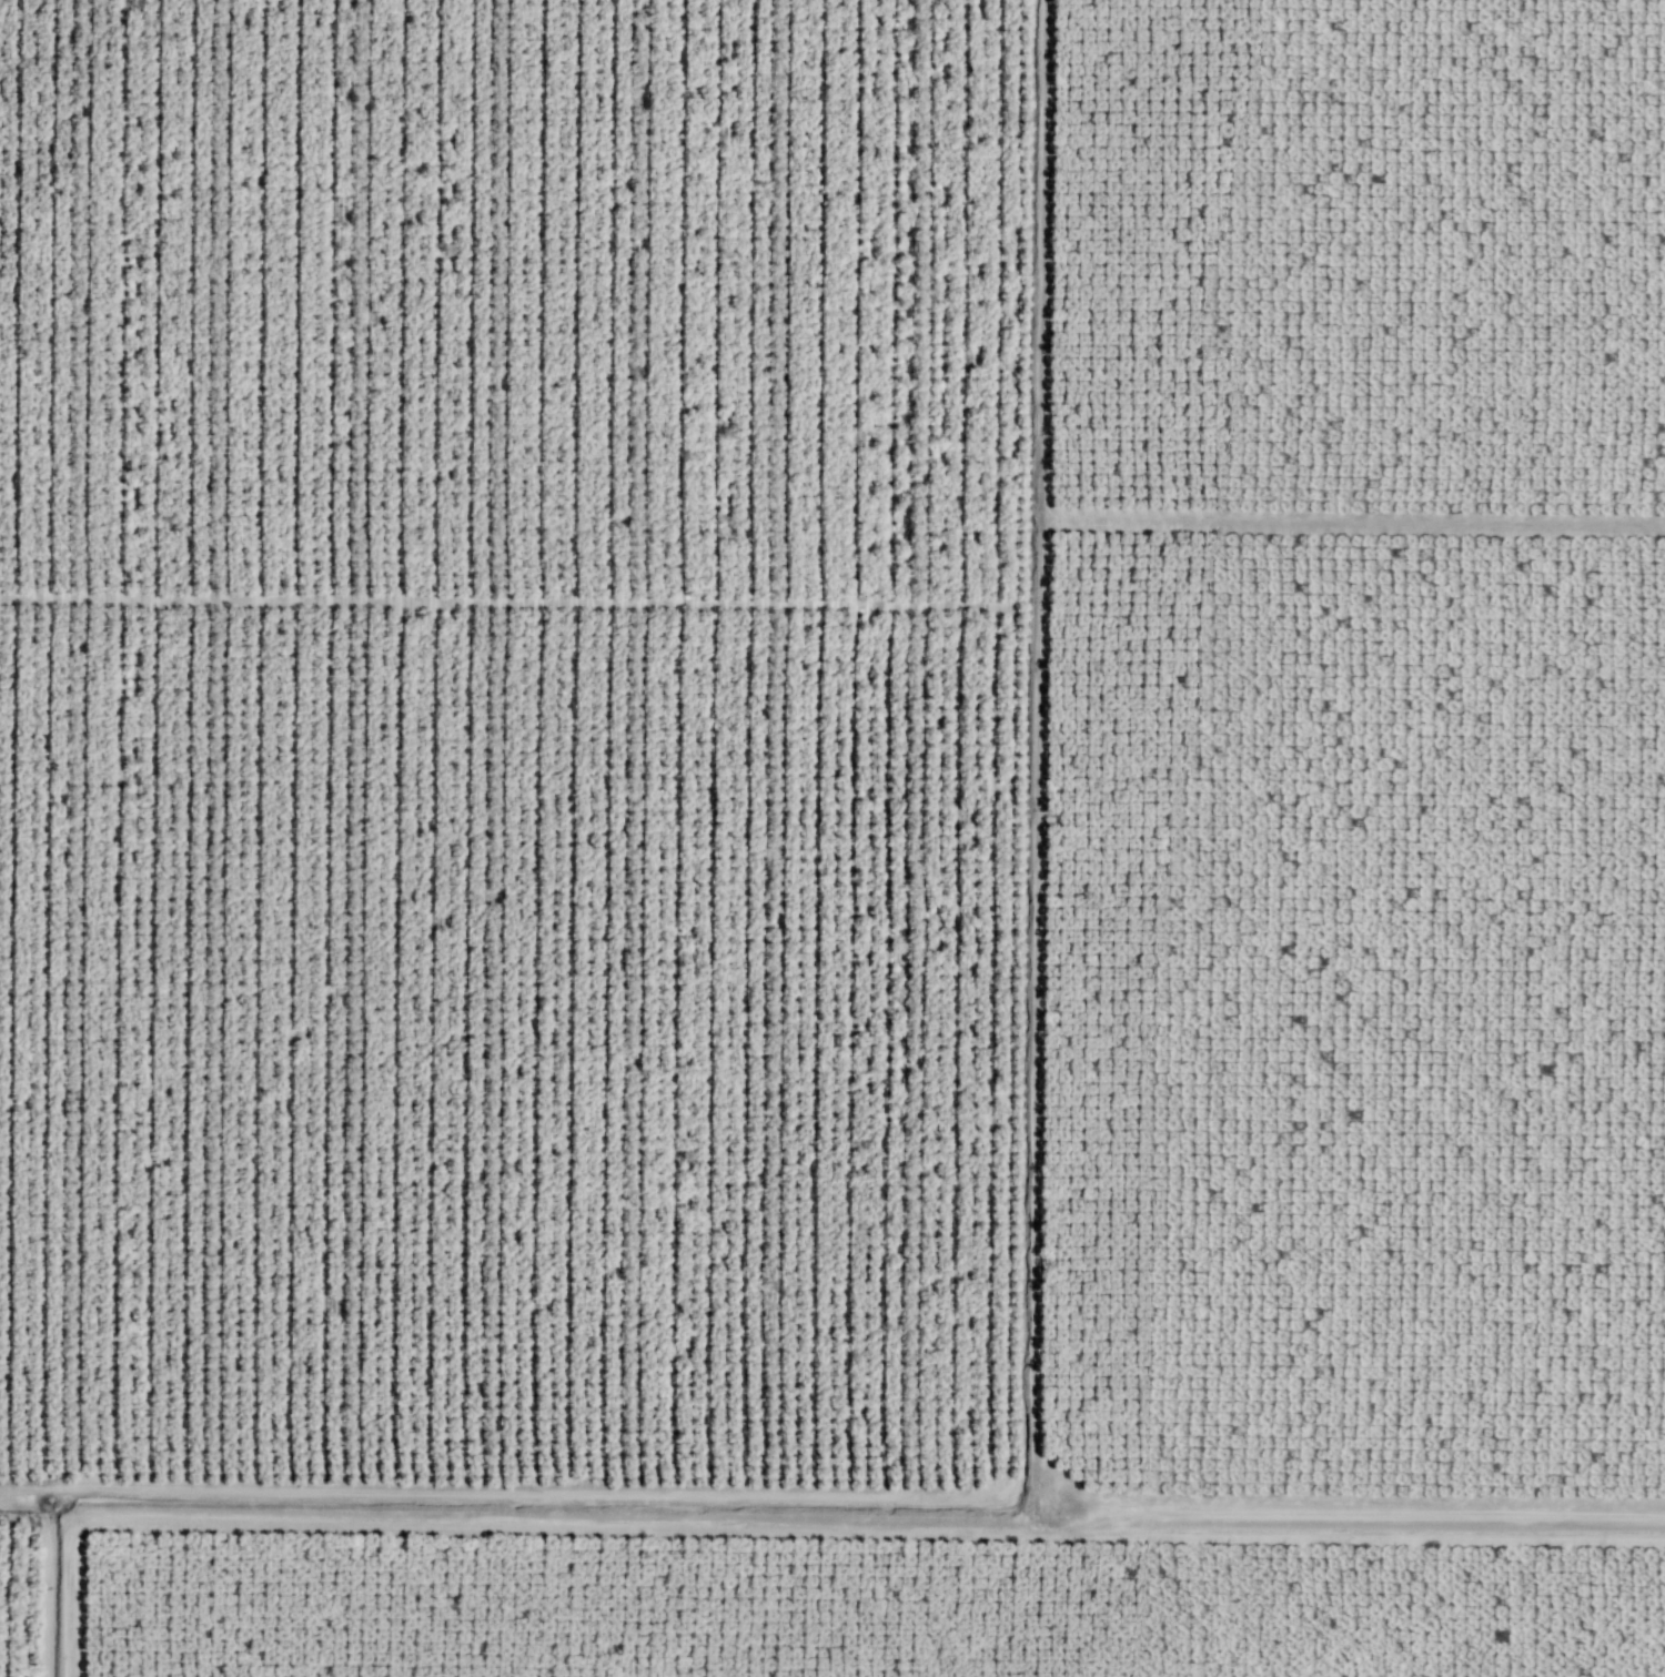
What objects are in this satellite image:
road: (1047, 259)
road: (1354, 522)
road: (497, 599)
road: (1039, 1032)
road: (1017, 1251)
road: (798, 1525)
road: (47, 1583)

